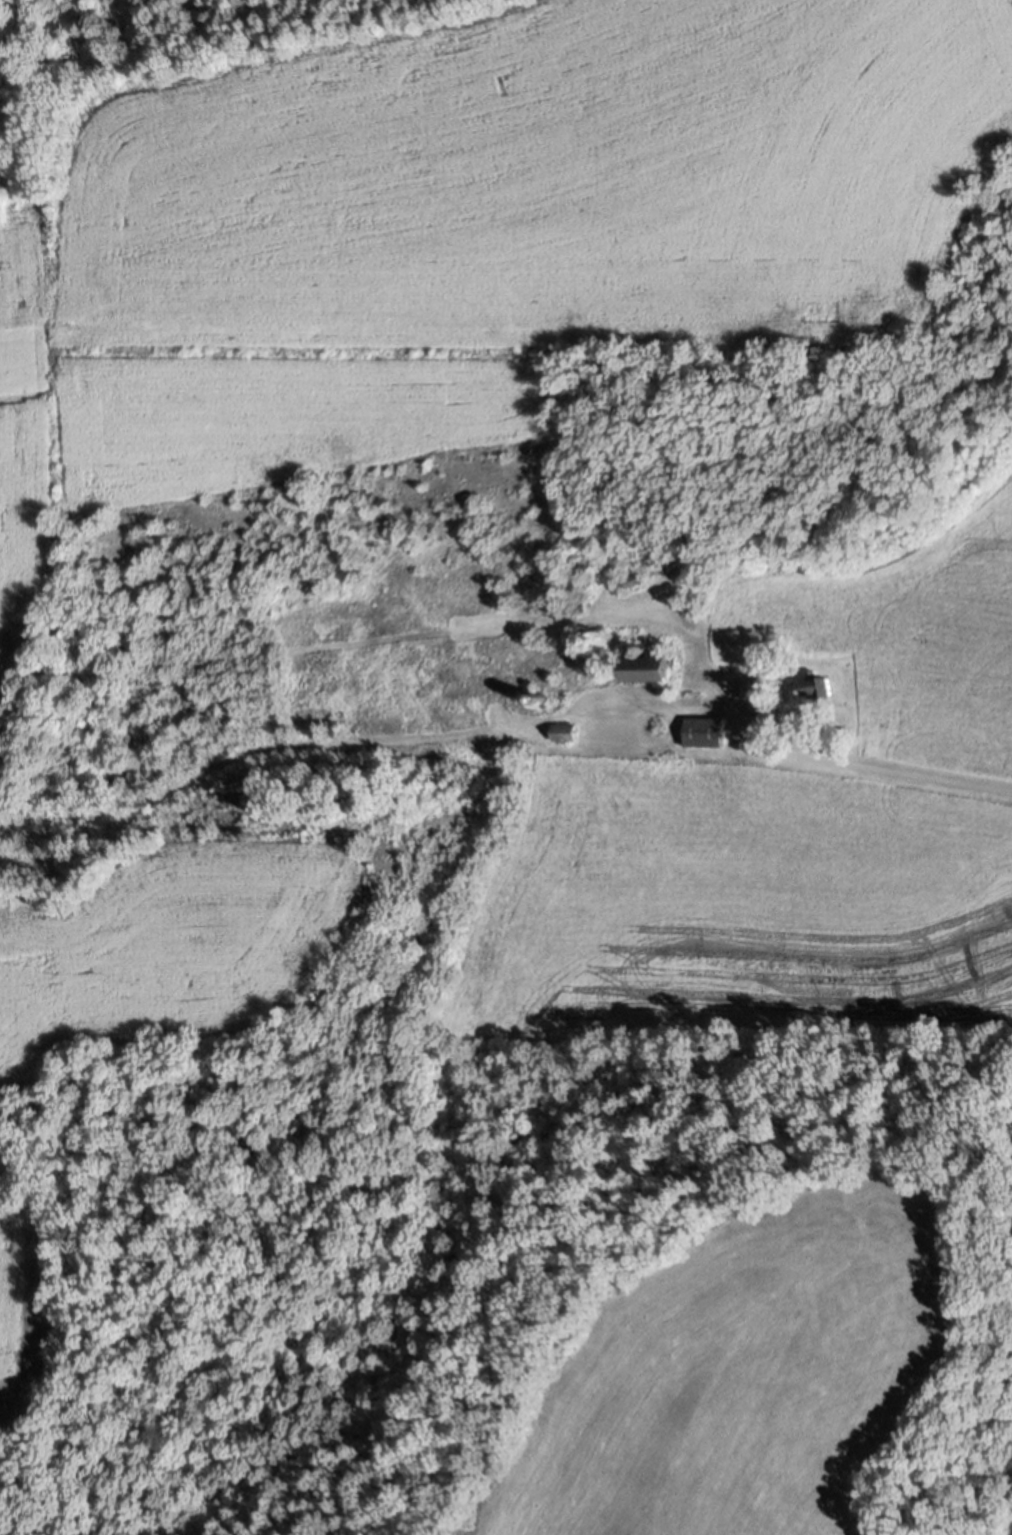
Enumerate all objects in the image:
building: (633, 580)
building: (578, 606)
building: (651, 666)
building: (819, 685)
building: (754, 690)
building: (564, 731)
building: (706, 731)
road: (852, 764)

